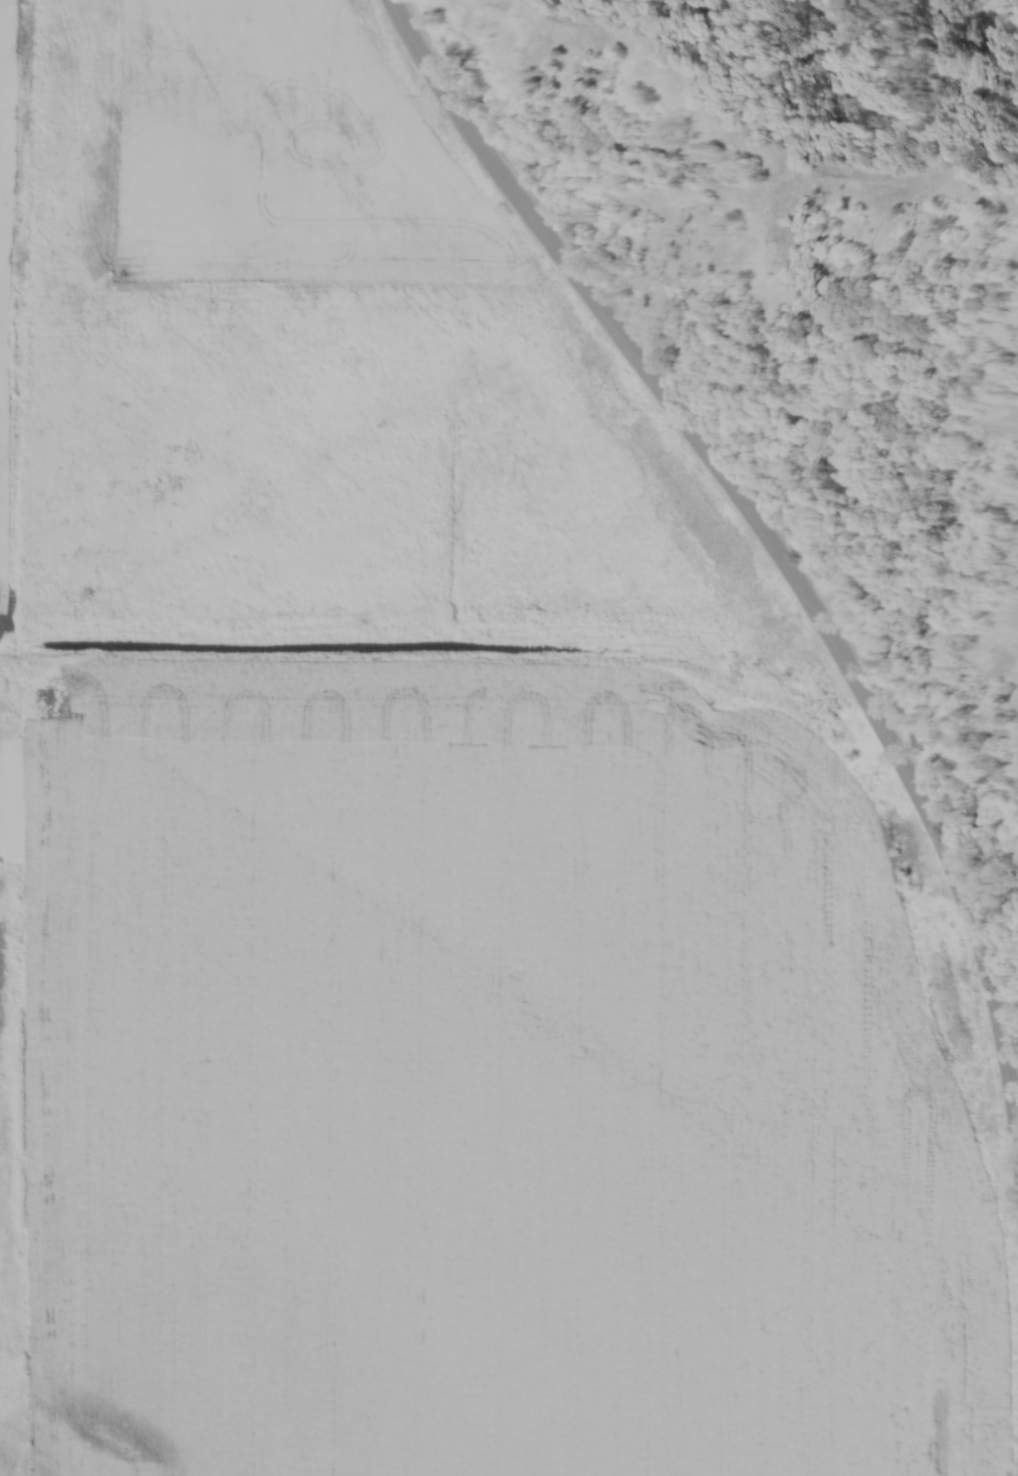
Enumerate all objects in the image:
road: (780, 572)

